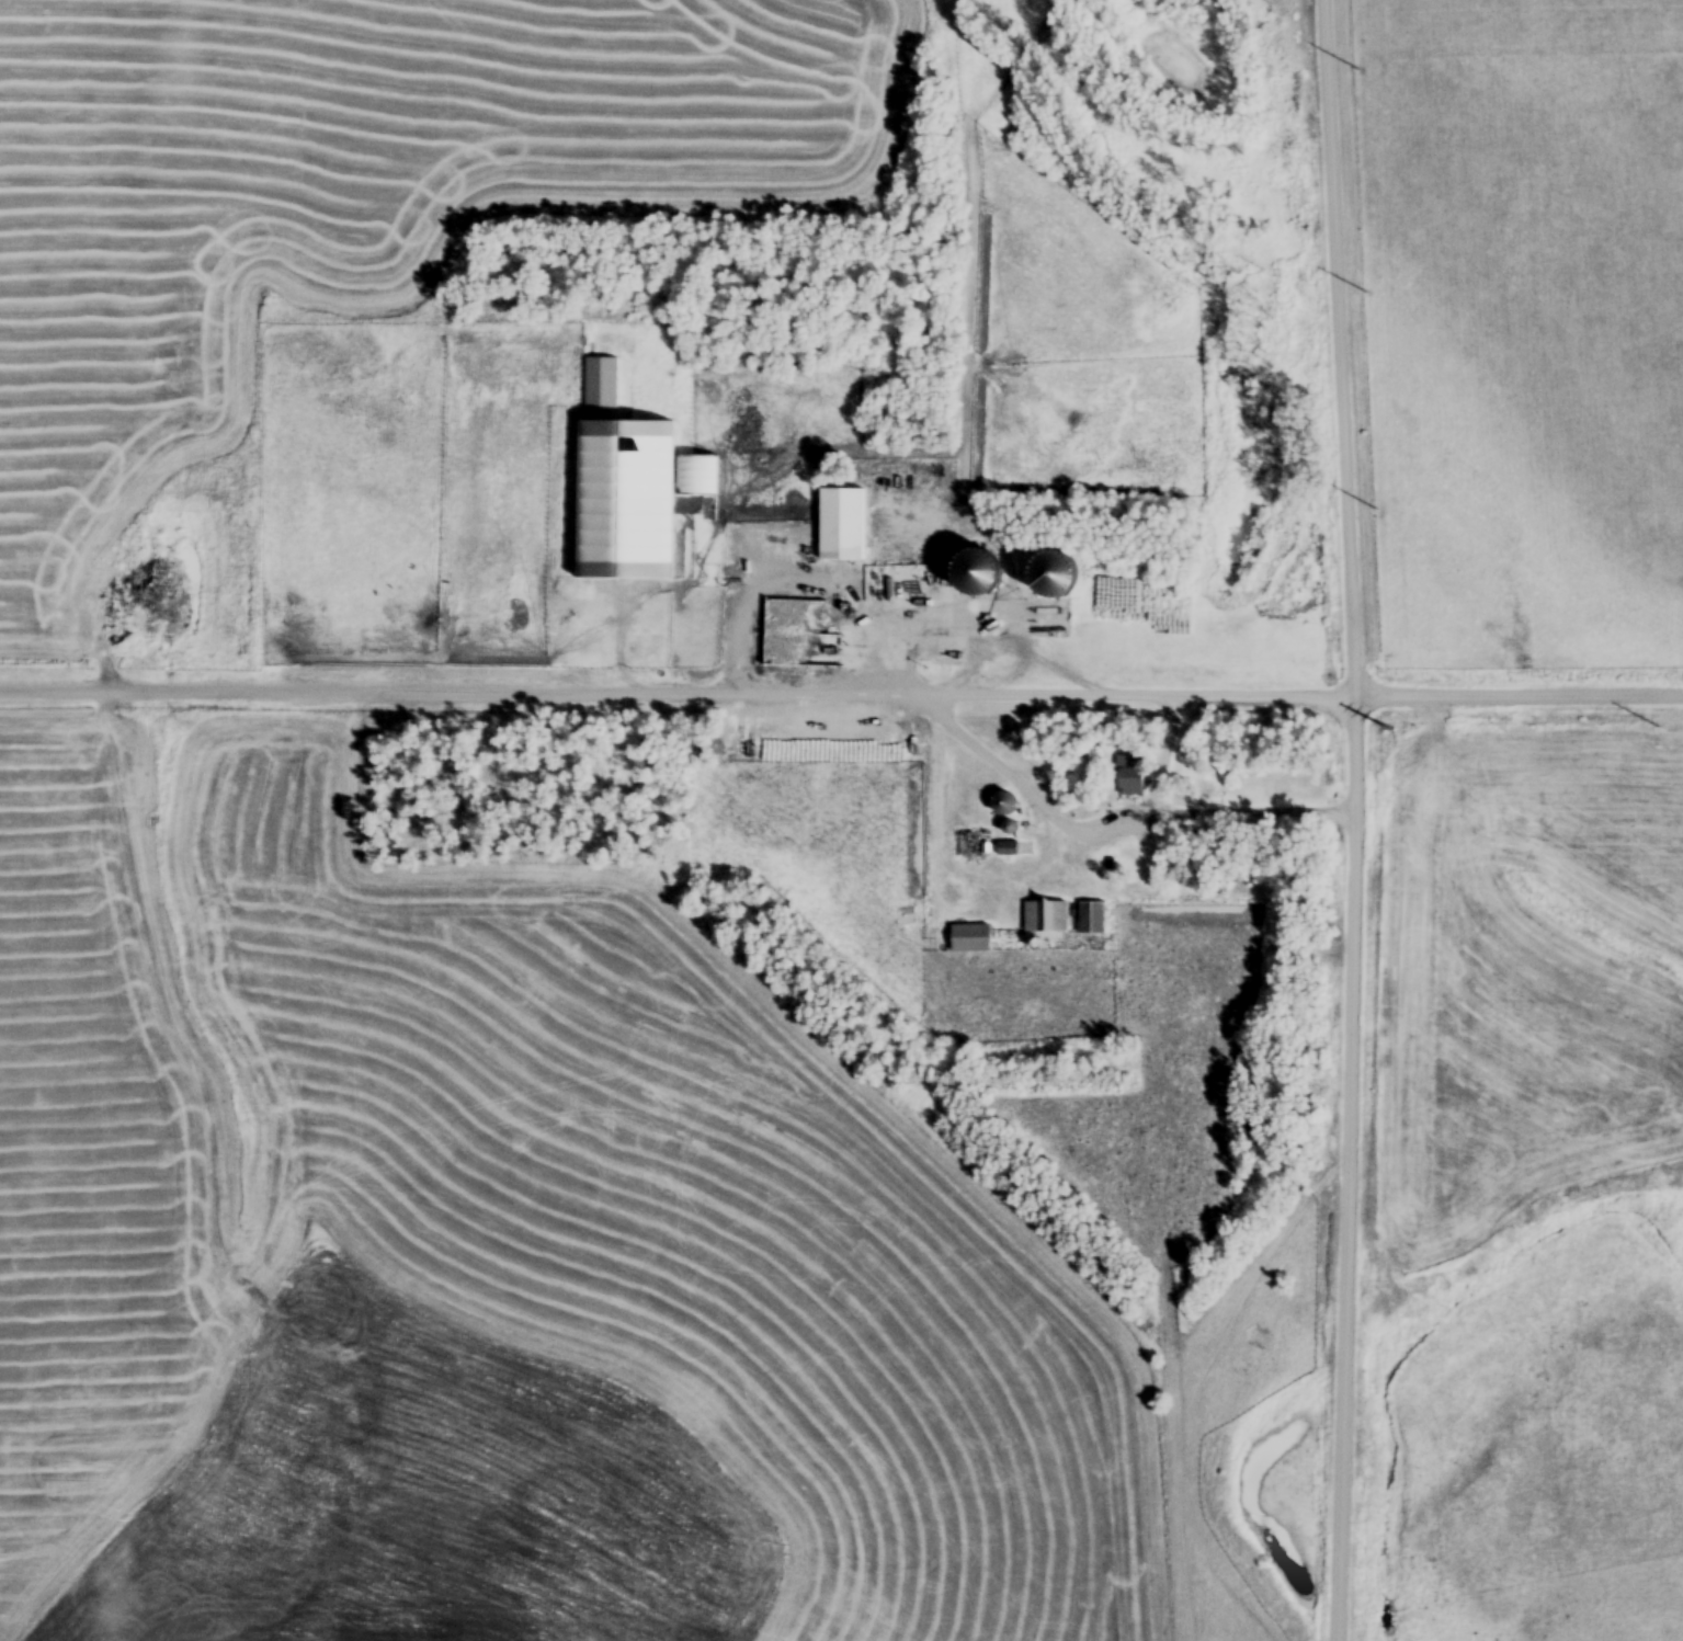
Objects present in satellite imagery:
building: (696, 478)
building: (624, 502)
building: (841, 528)
building: (1057, 572)
building: (981, 573)
road: (841, 694)
power tower: (1389, 732)
building: (1130, 778)
building: (1001, 808)
road: (1360, 820)
building: (1045, 921)
building: (1091, 922)
building: (970, 943)

